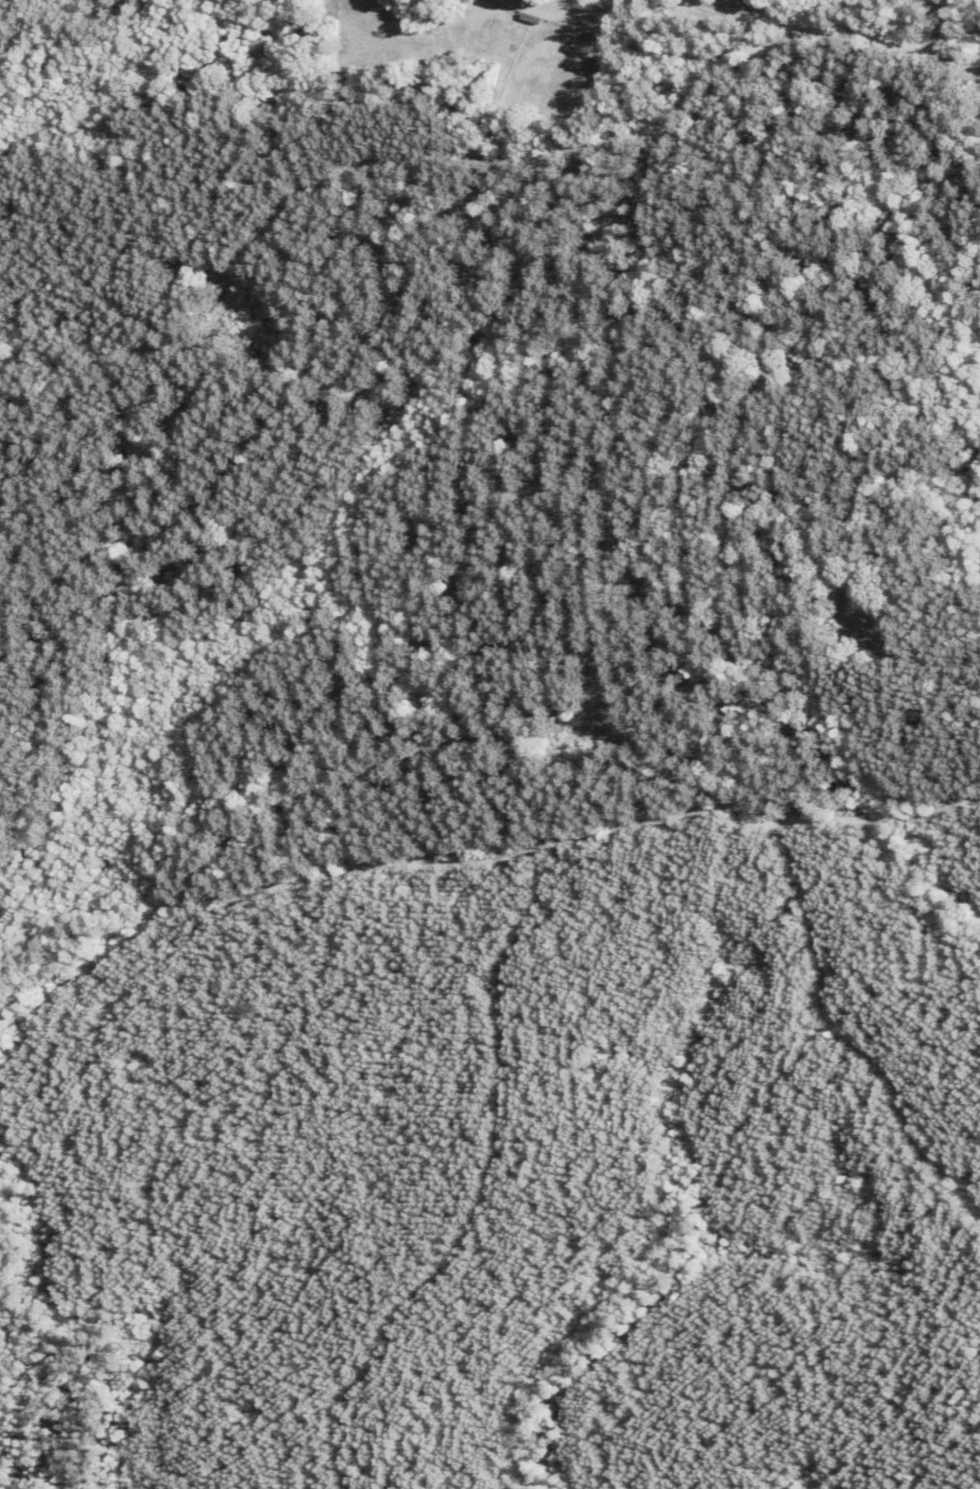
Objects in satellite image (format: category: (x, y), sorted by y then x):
road: (823, 24)
road: (594, 646)

